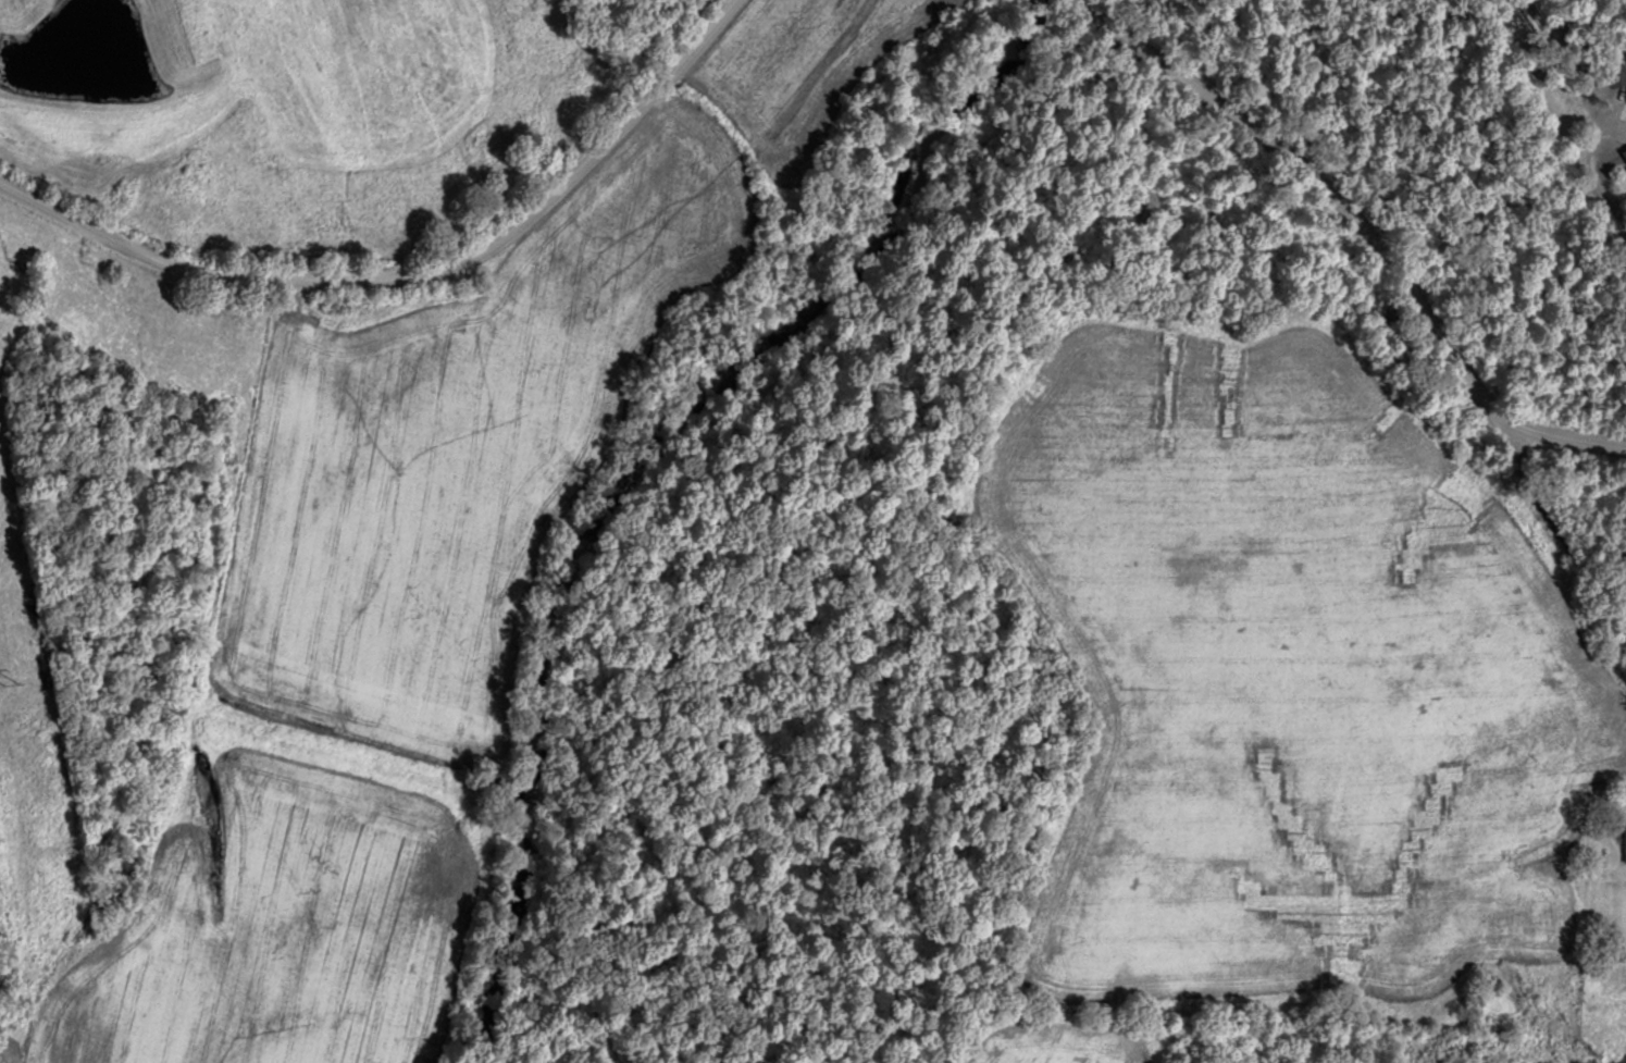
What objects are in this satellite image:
road: (1127, 42)
building: (1612, 76)
building: (1623, 156)
road: (418, 277)
road: (1395, 284)
road: (1547, 544)
power tower: (9, 683)
building: (1624, 839)

